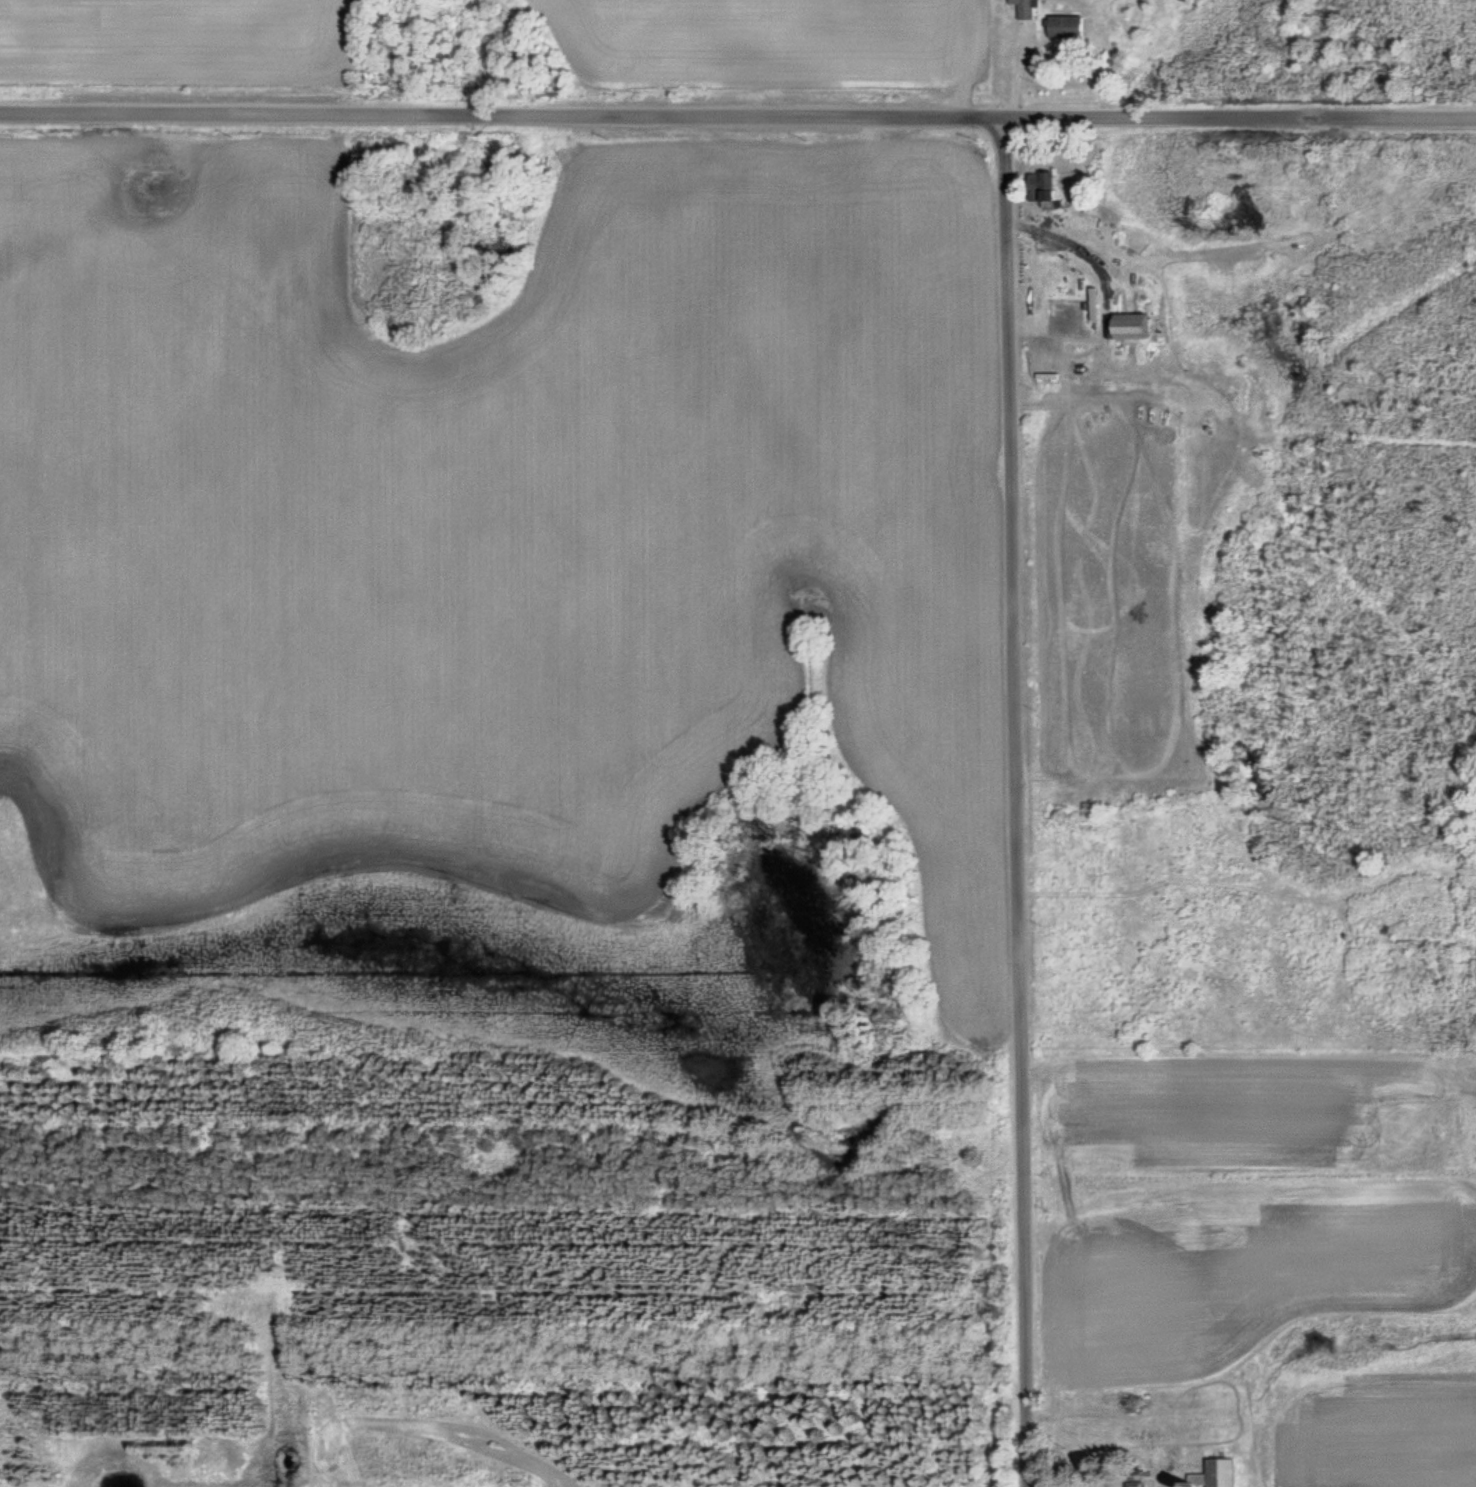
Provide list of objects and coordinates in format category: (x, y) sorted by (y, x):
building: (1023, 8)
building: (1063, 26)
road: (737, 113)
building: (1042, 185)
building: (1128, 325)
road: (1014, 802)
building: (1219, 1472)

